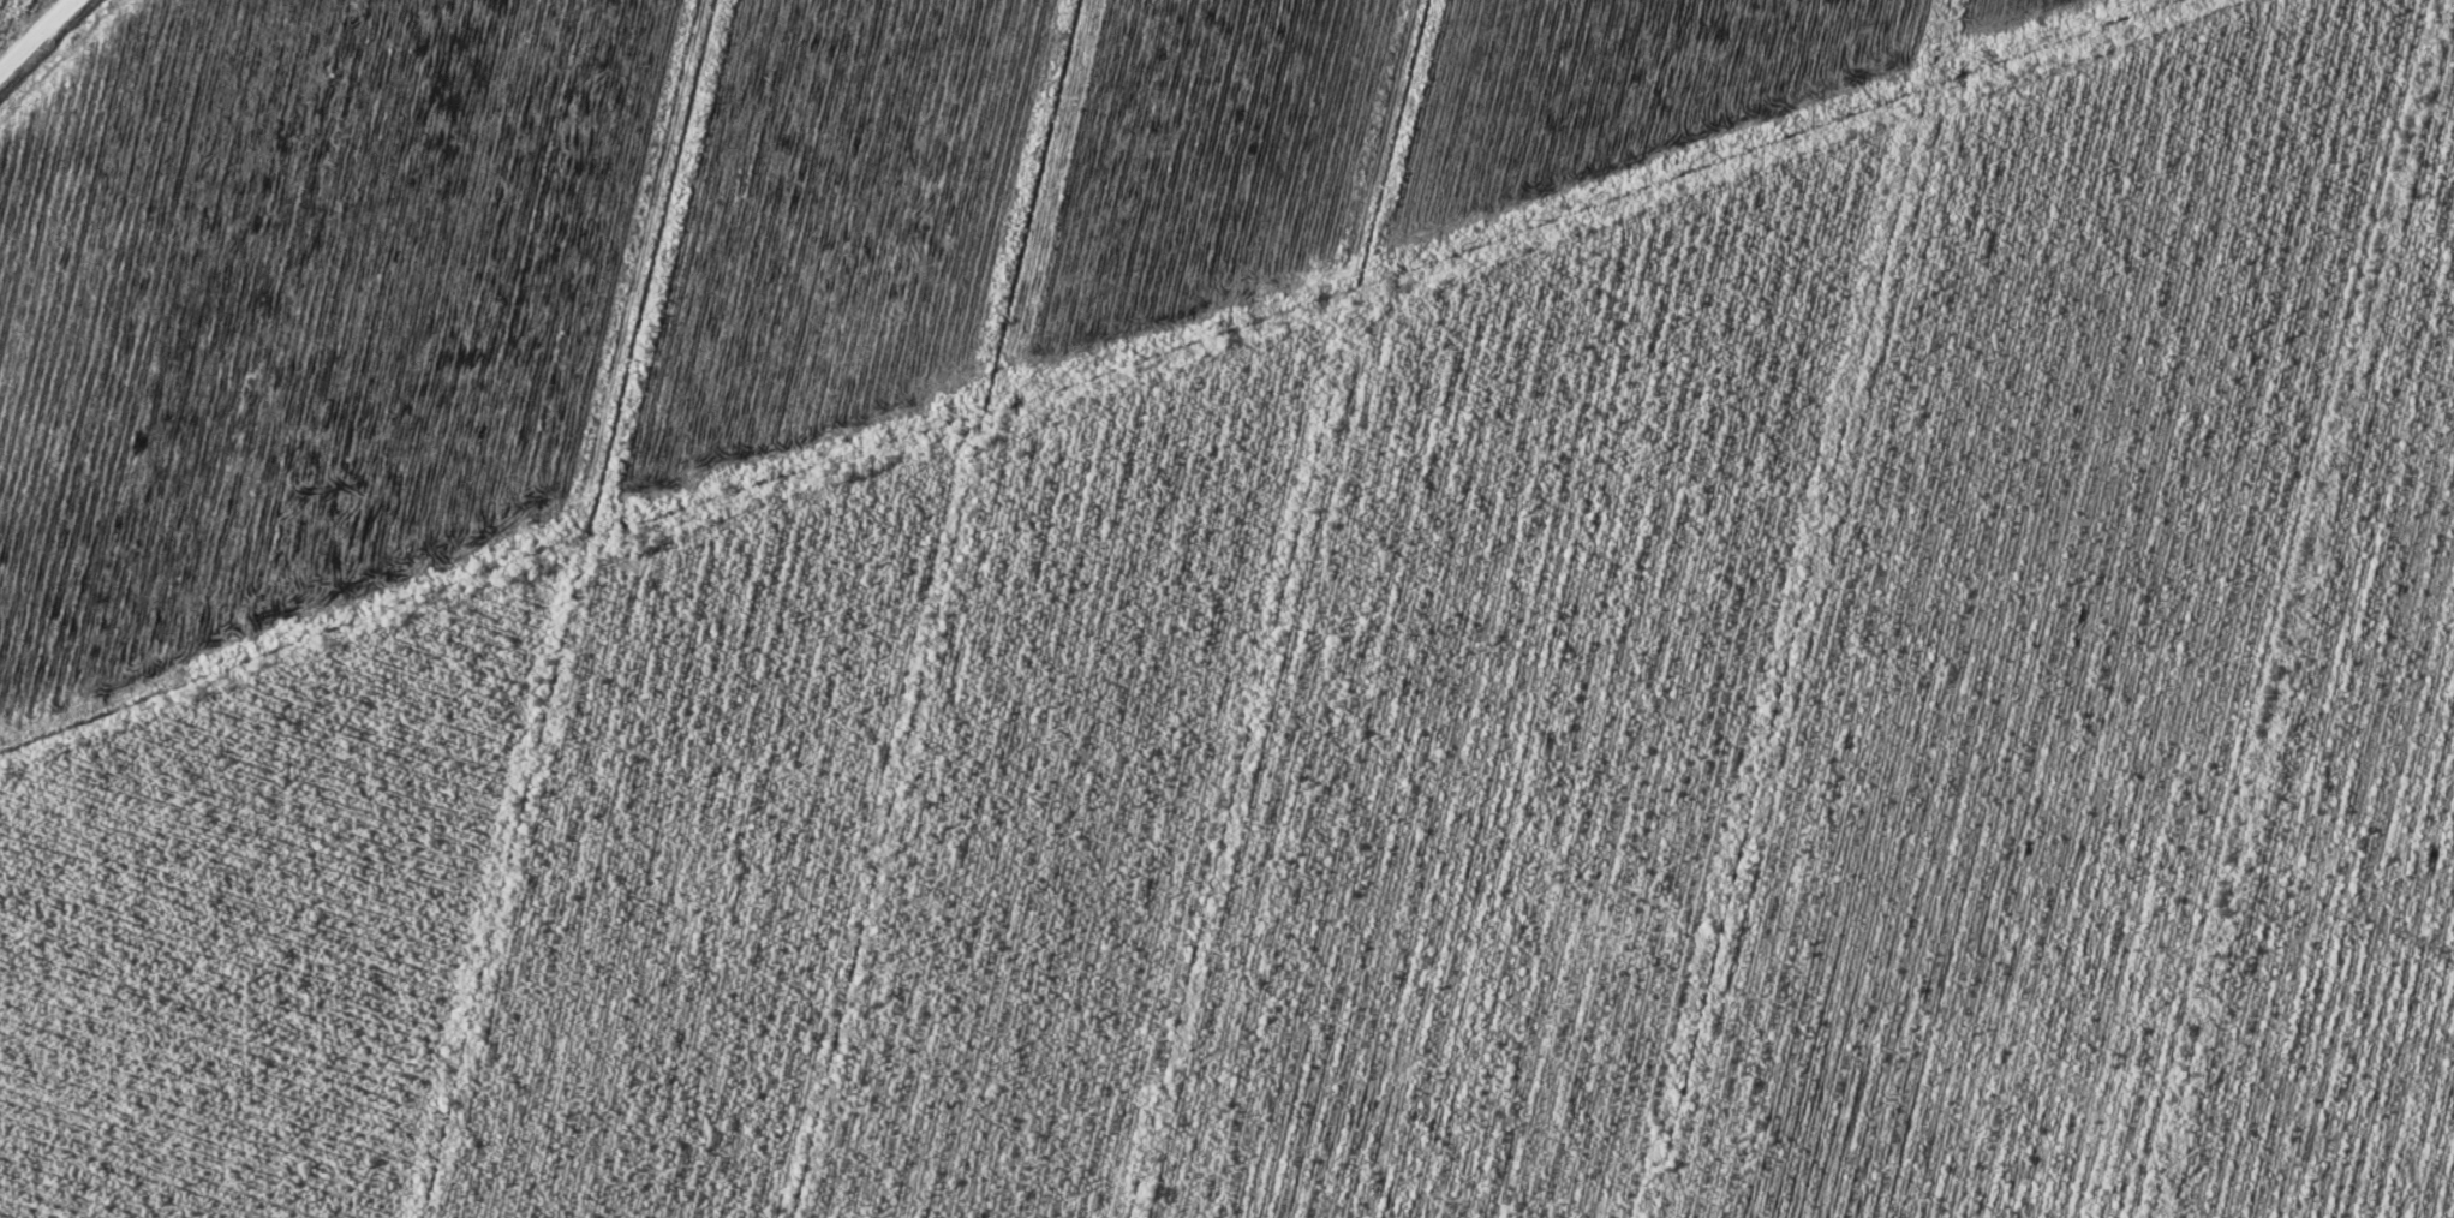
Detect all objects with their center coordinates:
road: (36, 36)

